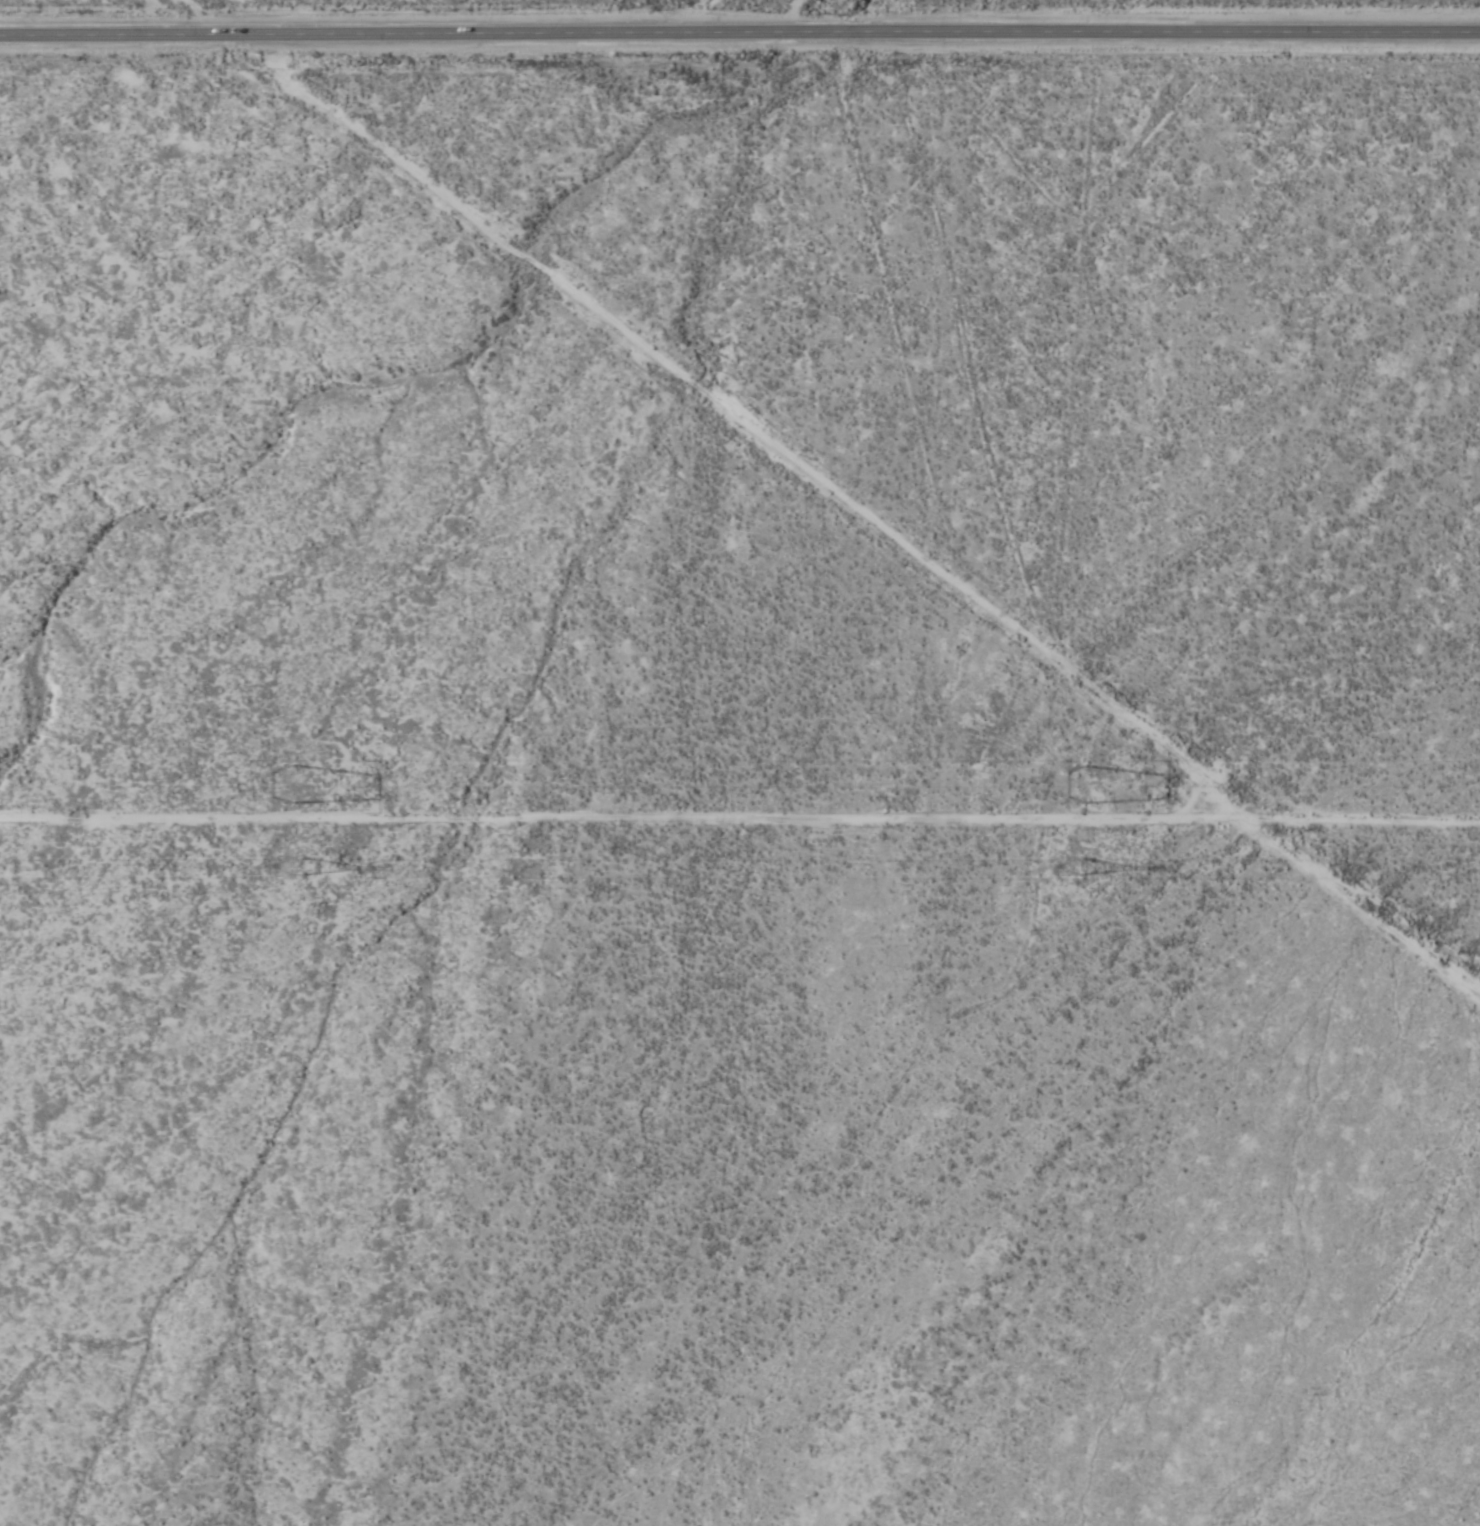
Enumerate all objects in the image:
road: (684, 17)
road: (739, 33)
power tower: (1084, 791)
power tower: (297, 792)
power tower: (287, 871)
power tower: (1078, 871)

